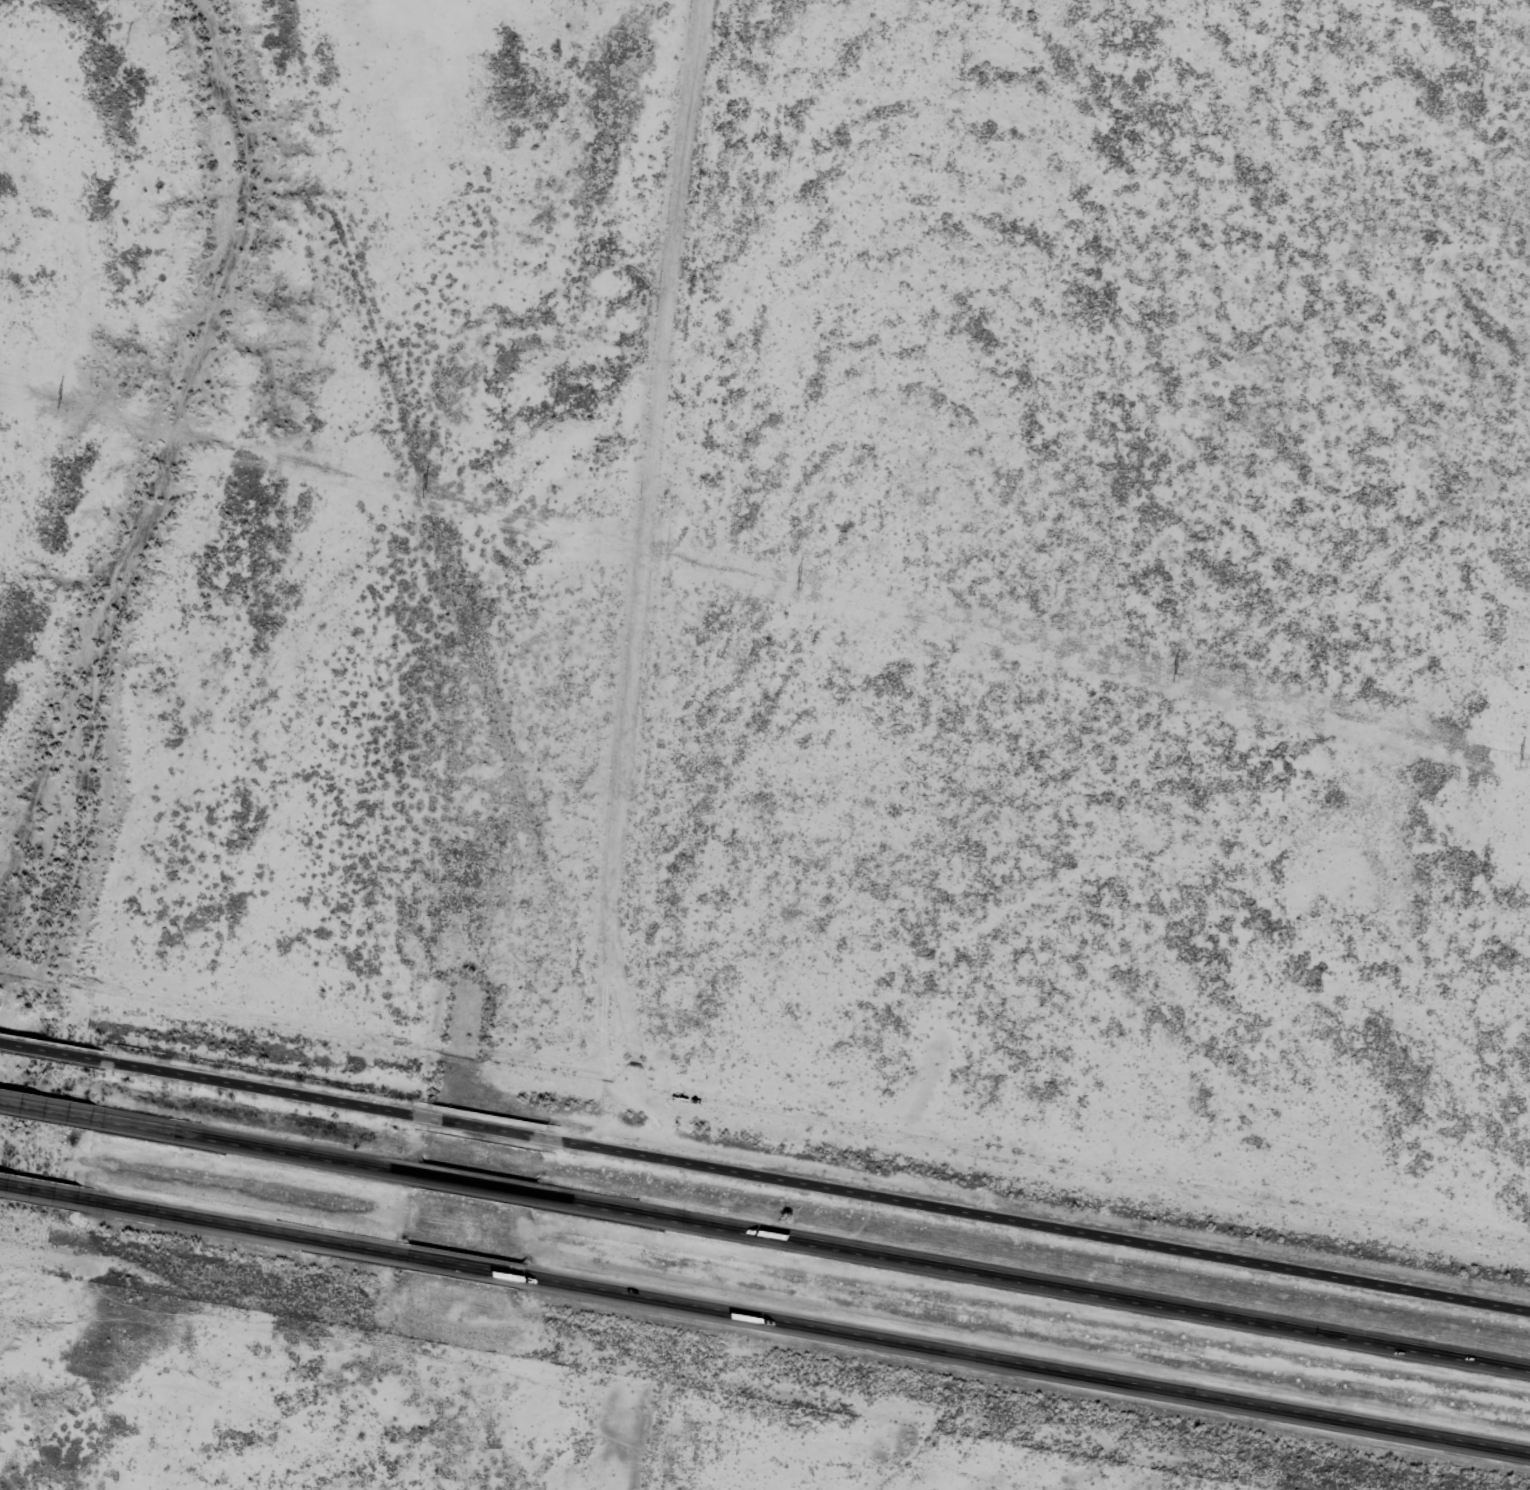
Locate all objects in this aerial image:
power tower: (59, 404)
power tower: (423, 493)
power tower: (799, 586)
power tower: (1176, 677)
power tower: (1522, 763)
road: (51, 1053)
road: (265, 1092)
road: (33, 1106)
road: (491, 1132)
road: (232, 1141)
road: (475, 1183)
road: (20, 1185)
road: (219, 1220)
road: (1042, 1227)
road: (471, 1265)
road: (1041, 1281)
road: (1037, 1367)

